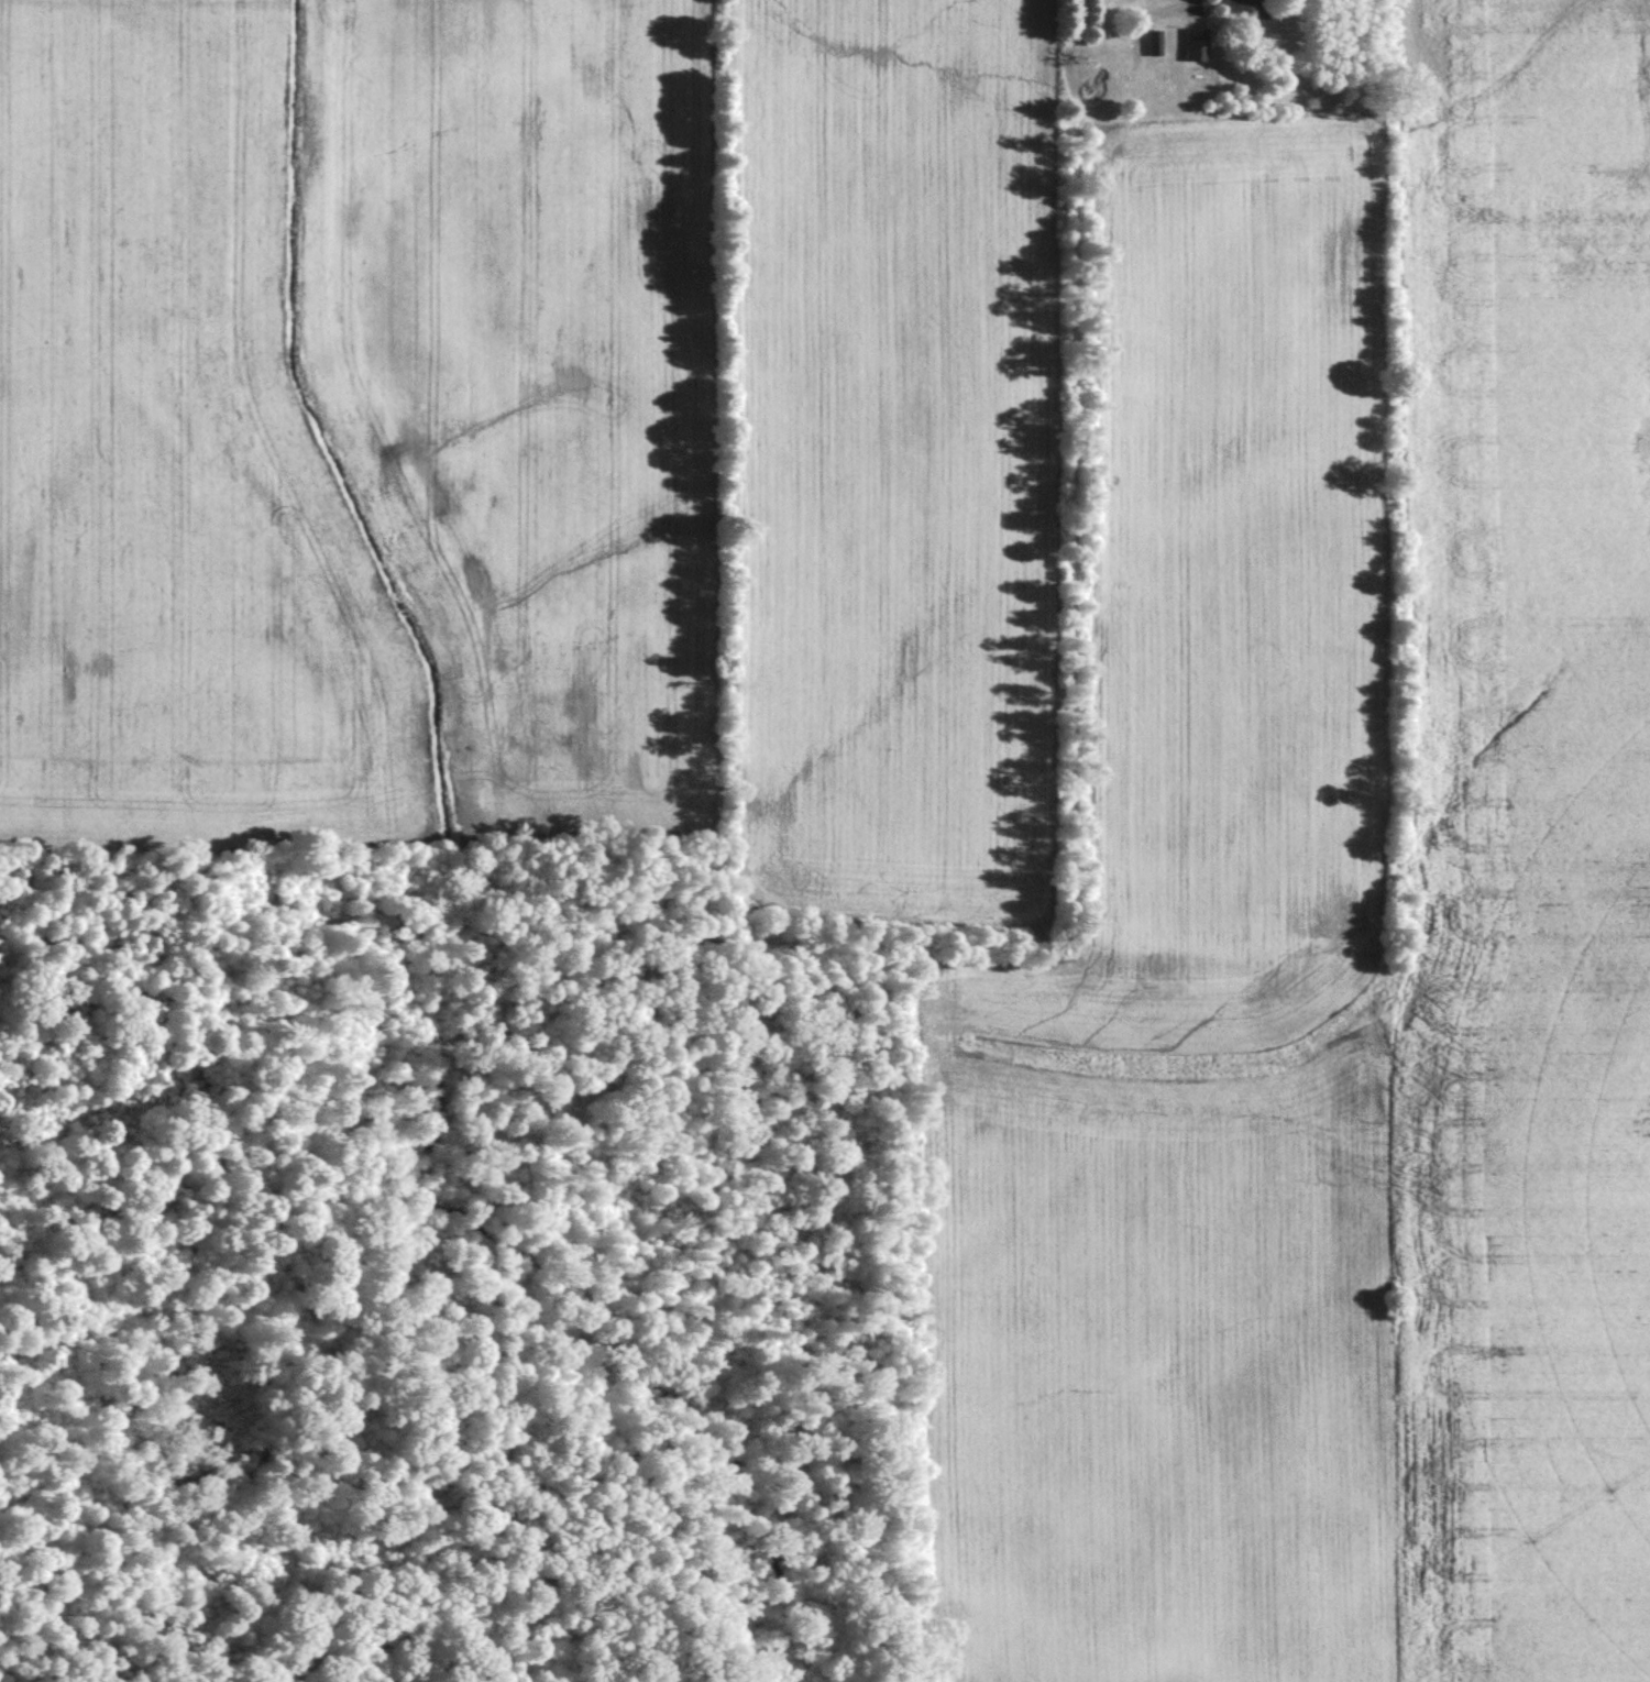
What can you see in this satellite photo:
building: (1154, 45)
building: (1195, 47)

